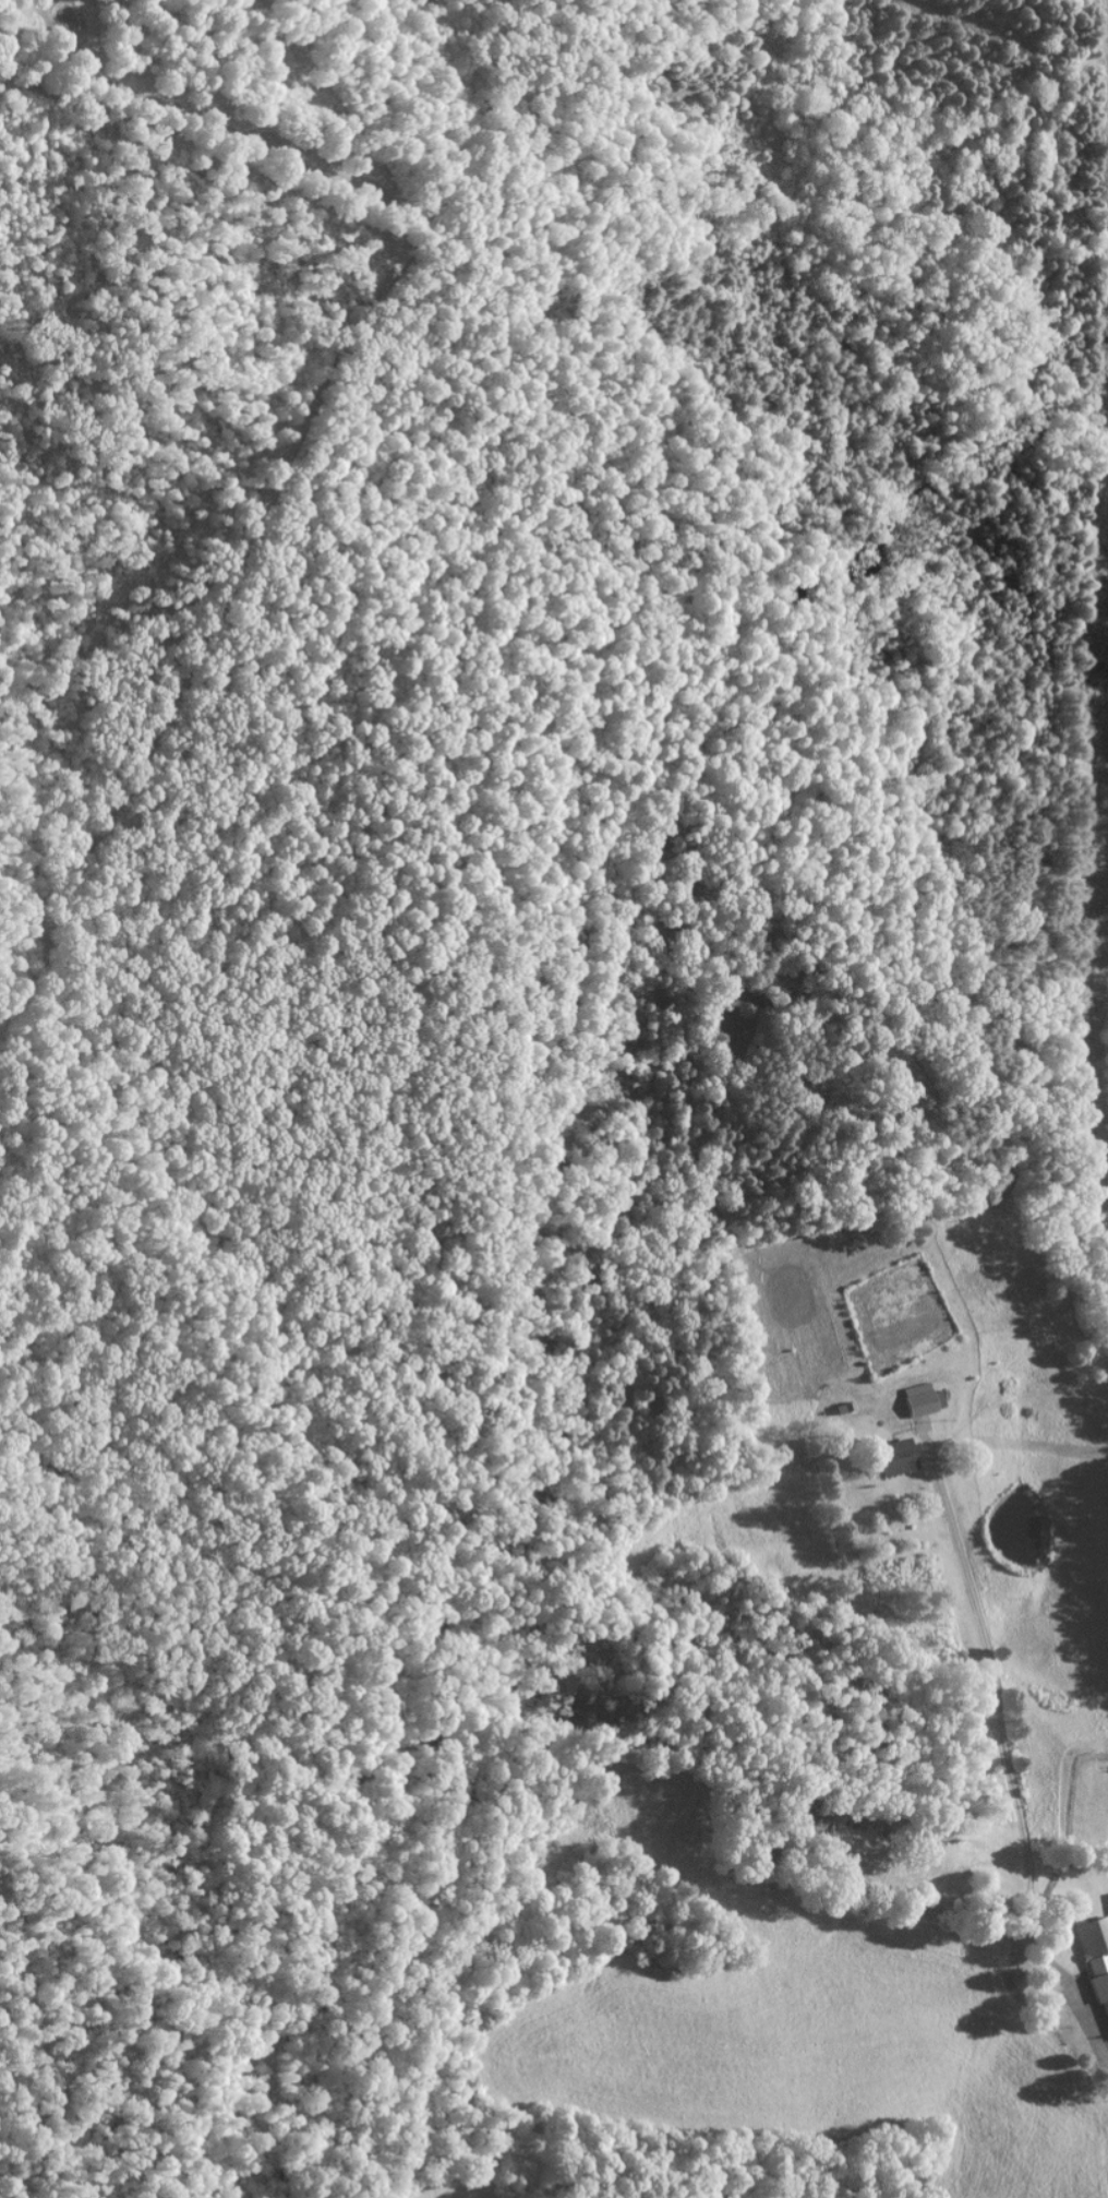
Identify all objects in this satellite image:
building: (923, 1399)
building: (896, 1457)
park: (1104, 1845)
road: (991, 1900)
building: (1096, 1956)

